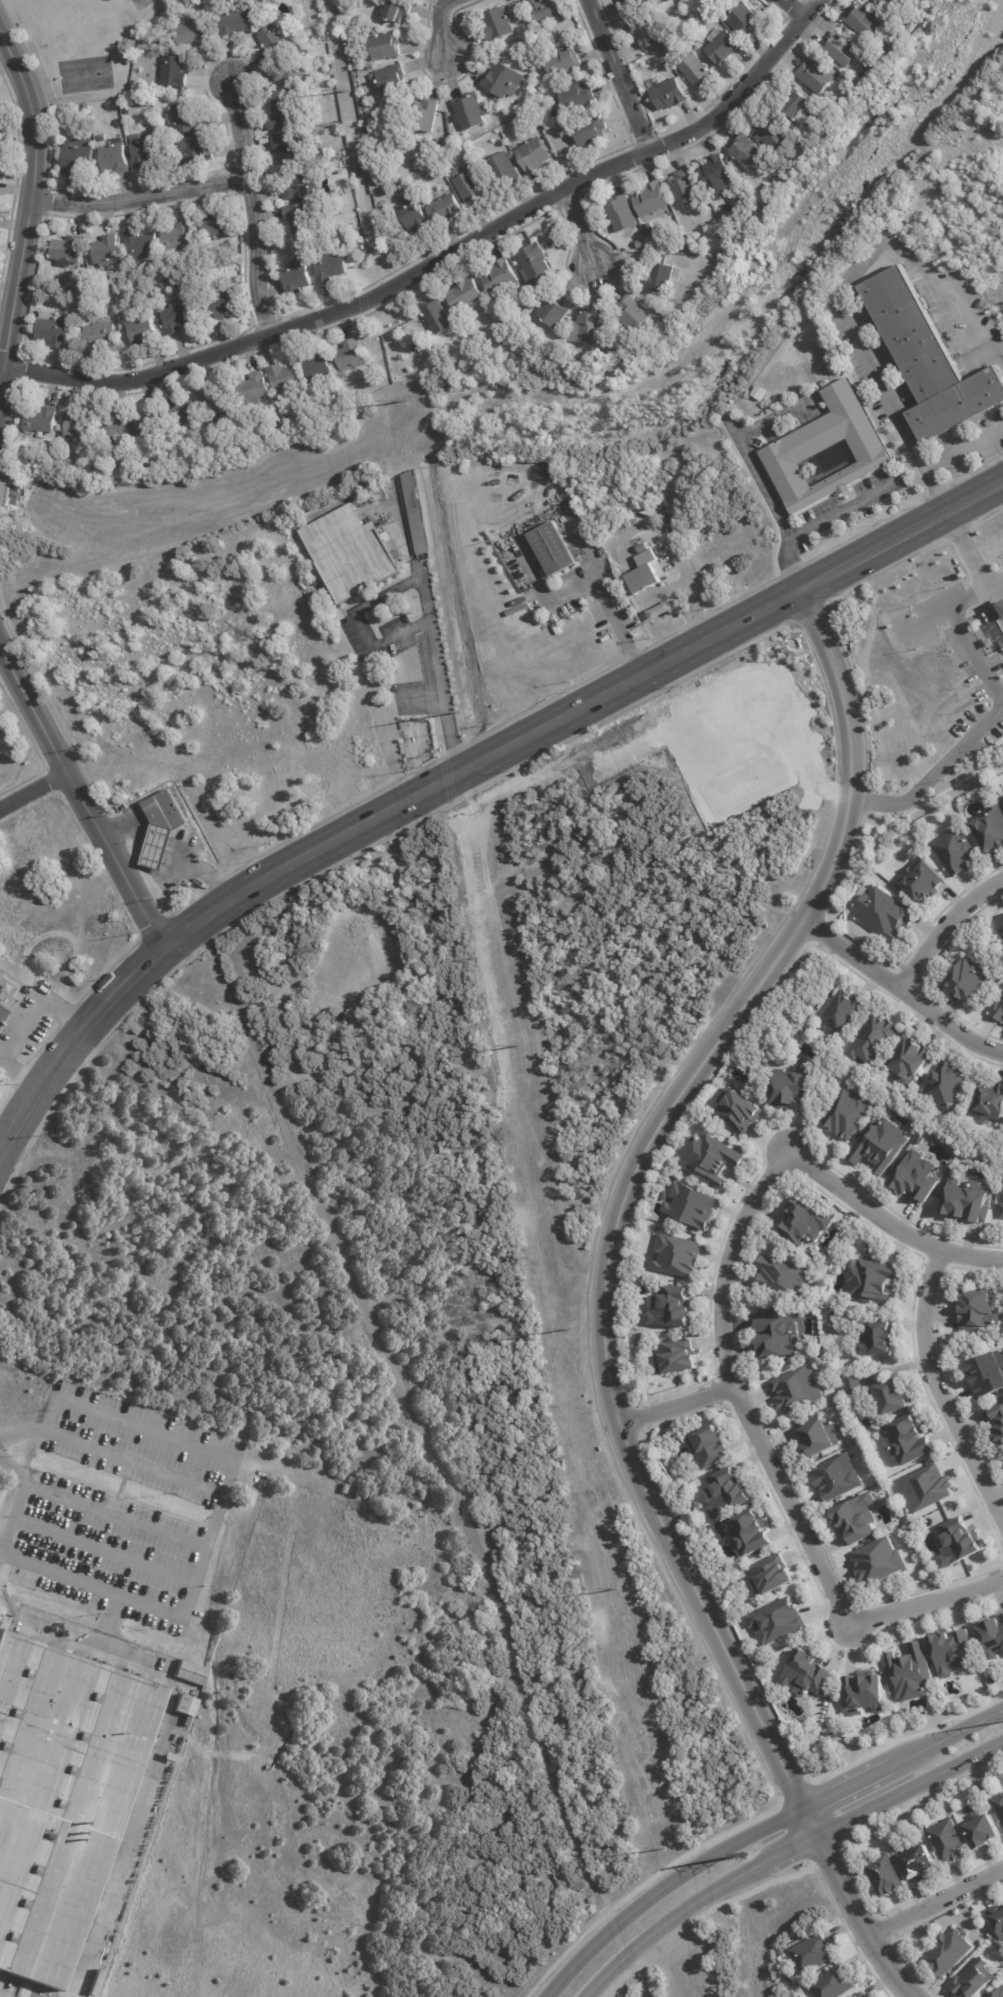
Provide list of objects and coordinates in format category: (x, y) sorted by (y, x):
building: (702, 0)
building: (636, 3)
building: (887, 3)
building: (720, 8)
road: (798, 9)
building: (397, 11)
building: (546, 11)
building: (344, 12)
building: (743, 21)
building: (864, 22)
building: (233, 24)
building: (498, 25)
building: (913, 27)
road: (444, 31)
building: (645, 33)
building: (191, 34)
building: (690, 34)
building: (274, 42)
building: (384, 47)
building: (722, 47)
building: (886, 47)
building: (510, 50)
building: (842, 51)
building: (563, 62)
building: (695, 71)
building: (173, 72)
road: (616, 75)
building: (816, 77)
building: (502, 81)
building: (390, 82)
building: (537, 88)
building: (669, 95)
building: (574, 98)
building: (798, 106)
building: (86, 108)
building: (365, 113)
building: (470, 113)
building: (282, 116)
building: (425, 116)
building: (185, 120)
building: (335, 128)
building: (591, 132)
building: (453, 135)
building: (775, 137)
building: (101, 138)
building: (0, 144)
building: (442, 147)
building: (196, 150)
building: (286, 150)
building: (143, 151)
building: (747, 154)
building: (533, 156)
building: (78, 158)
building: (114, 158)
building: (319, 158)
building: (418, 167)
building: (505, 171)
building: (718, 177)
building: (402, 187)
building: (300, 188)
building: (470, 189)
building: (685, 189)
road: (143, 199)
building: (651, 200)
road: (253, 208)
building: (378, 209)
building: (445, 211)
building: (622, 214)
building: (413, 215)
building: (301, 220)
road: (34, 226)
building: (216, 230)
road: (585, 230)
building: (357, 236)
building: (178, 239)
building: (140, 246)
building: (645, 246)
building: (106, 251)
building: (67, 252)
road: (441, 256)
building: (534, 266)
building: (329, 269)
building: (499, 278)
building: (296, 279)
building: (659, 280)
road: (850, 280)
building: (465, 296)
building: (219, 308)
building: (553, 312)
building: (633, 315)
building: (178, 317)
building: (437, 318)
building: (589, 328)
building: (52, 333)
building: (141, 333)
building: (98, 337)
building: (933, 353)
building: (349, 358)
building: (386, 366)
building: (317, 369)
building: (283, 379)
building: (252, 390)
building: (280, 398)
building: (216, 403)
building: (181, 414)
building: (282, 417)
road: (777, 419)
building: (41, 420)
building: (276, 424)
building: (150, 425)
building: (77, 426)
building: (116, 429)
building: (832, 448)
building: (187, 456)
road: (761, 479)
road: (941, 498)
building: (417, 514)
road: (823, 522)
building: (557, 544)
building: (357, 551)
building: (644, 579)
road: (943, 609)
road: (618, 620)
building: (997, 621)
building: (545, 622)
road: (430, 626)
road: (976, 654)
park: (13, 749)
road: (460, 774)
road: (935, 774)
road: (33, 791)
road: (82, 801)
building: (168, 825)
building: (991, 829)
building: (956, 850)
building: (922, 879)
road: (164, 885)
building: (886, 912)
road: (944, 923)
building: (968, 979)
road: (899, 986)
building: (998, 1009)
building: (843, 1011)
building: (5, 1015)
road: (24, 1028)
building: (874, 1039)
road: (1, 1058)
building: (911, 1060)
building: (946, 1083)
building: (793, 1087)
building: (990, 1102)
building: (739, 1110)
building: (848, 1114)
building: (920, 1139)
building: (880, 1144)
building: (711, 1157)
building: (916, 1177)
building: (1002, 1180)
building: (966, 1202)
building: (692, 1205)
building: (1002, 1207)
building: (858, 1215)
road: (887, 1219)
building: (806, 1222)
building: (678, 1255)
building: (785, 1277)
building: (873, 1281)
road: (601, 1291)
building: (670, 1307)
building: (978, 1311)
building: (881, 1336)
building: (777, 1337)
building: (641, 1342)
building: (677, 1357)
building: (987, 1374)
building: (853, 1383)
building: (797, 1390)
road: (941, 1390)
road: (734, 1391)
building: (892, 1396)
road: (79, 1398)
road: (675, 1408)
building: (998, 1412)
road: (21, 1433)
building: (1000, 1433)
building: (819, 1435)
road: (428, 1436)
building: (909, 1440)
building: (710, 1446)
parking lot: (138, 1451)
road: (15, 1468)
building: (837, 1477)
building: (324, 1481)
building: (927, 1487)
building: (726, 1493)
building: (857, 1518)
building: (750, 1533)
building: (958, 1543)
road: (210, 1545)
road: (2, 1552)
parking lot: (106, 1561)
building: (879, 1562)
building: (772, 1576)
road: (925, 1601)
building: (1002, 1615)
building: (778, 1621)
building: (992, 1635)
building: (953, 1651)
building: (191, 1672)
building: (912, 1673)
building: (806, 1674)
building: (865, 1694)
building: (186, 1707)
building: (62, 1793)
building: (999, 1805)
road: (761, 1830)
building: (982, 1831)
building: (948, 1842)
road: (787, 1852)
road: (134, 1860)
building: (918, 1861)
building: (885, 1875)
road: (938, 1904)
building: (998, 1918)
building: (812, 1952)
building: (781, 1953)
building: (948, 1953)
building: (974, 1980)
building: (832, 1983)
building: (999, 1993)
building: (863, 1994)

